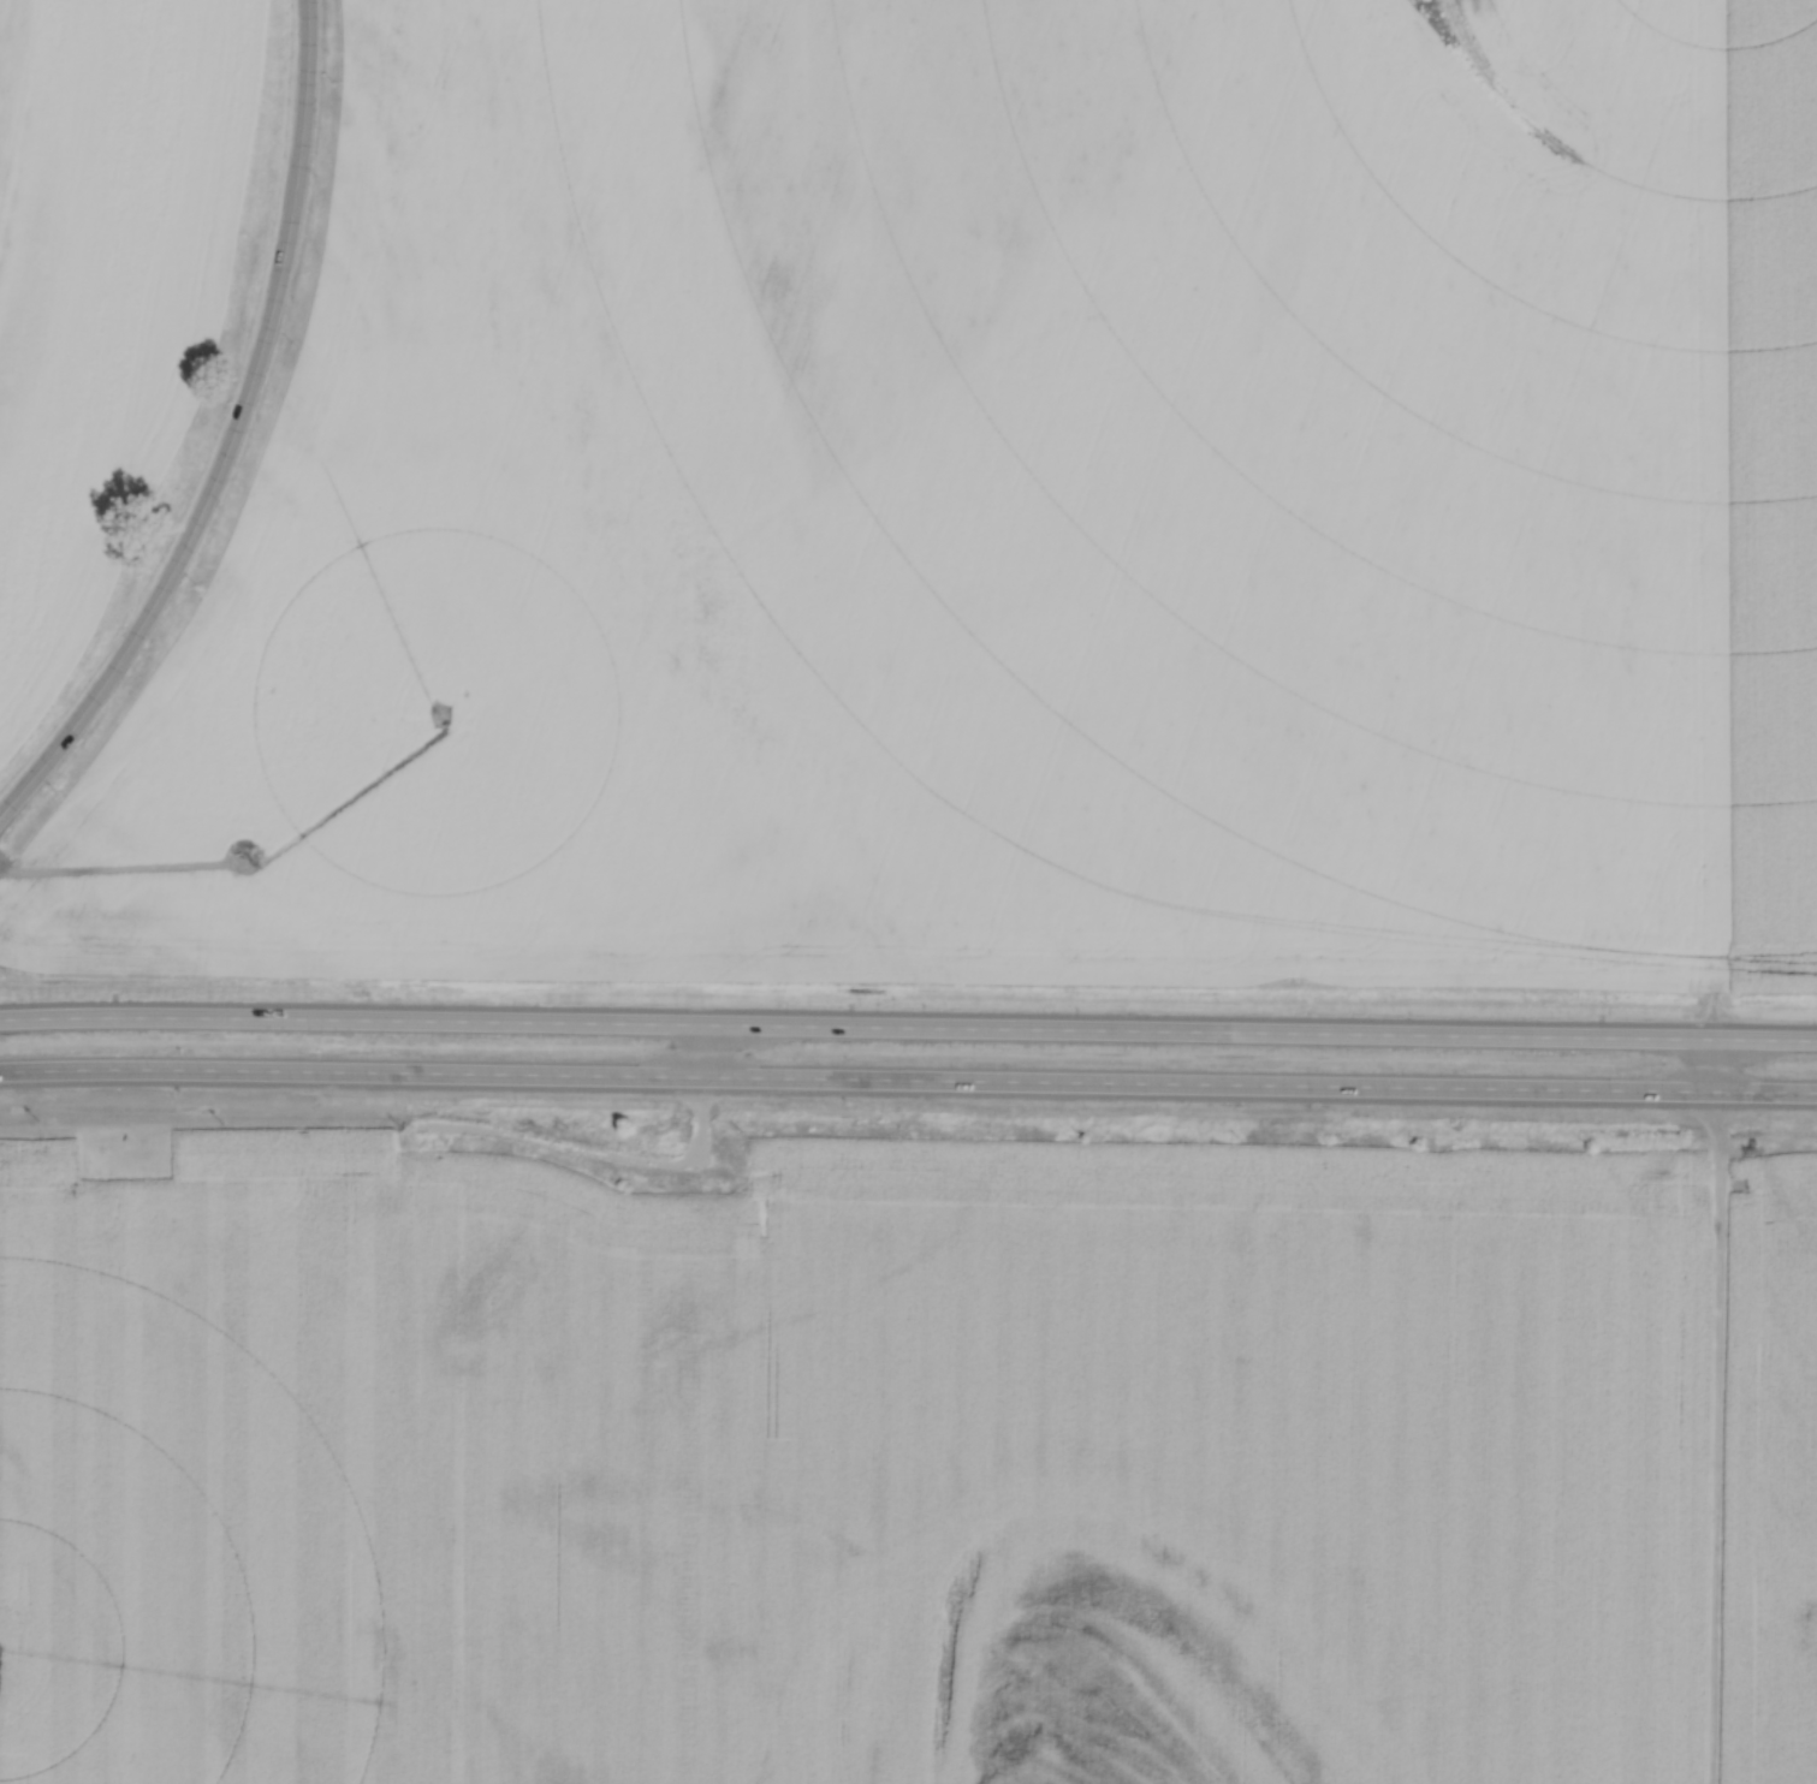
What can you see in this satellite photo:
road: (238, 438)
road: (908, 1025)
road: (908, 1078)
road: (592, 1149)

